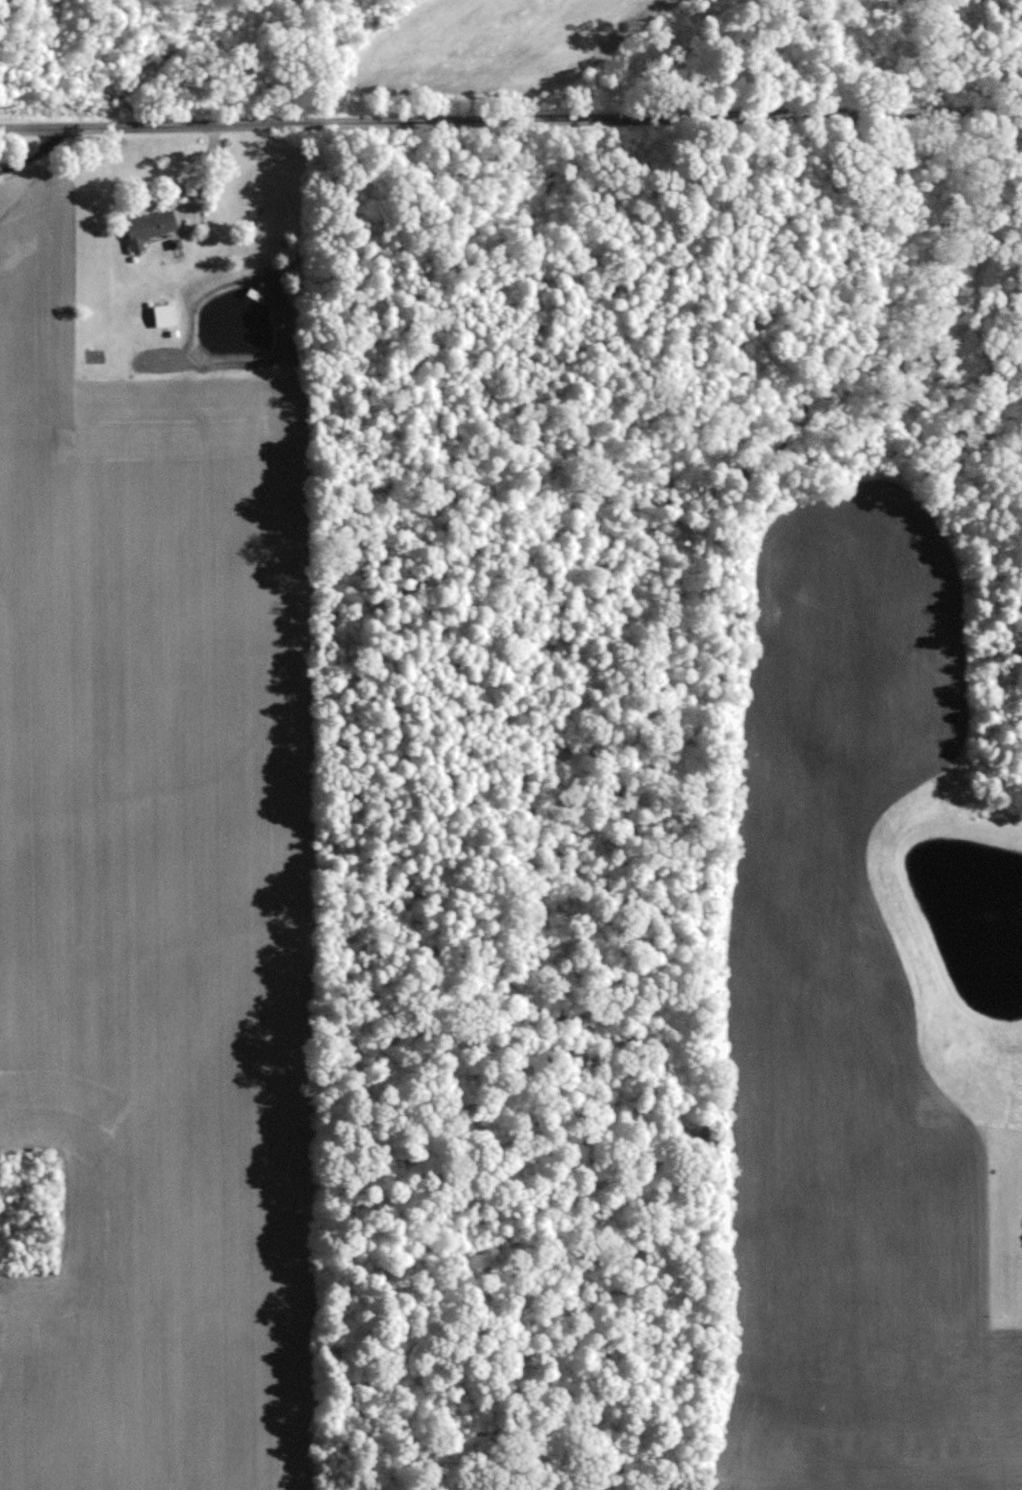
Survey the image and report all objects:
road: (510, 112)
road: (35, 168)
road: (203, 181)
building: (145, 228)

